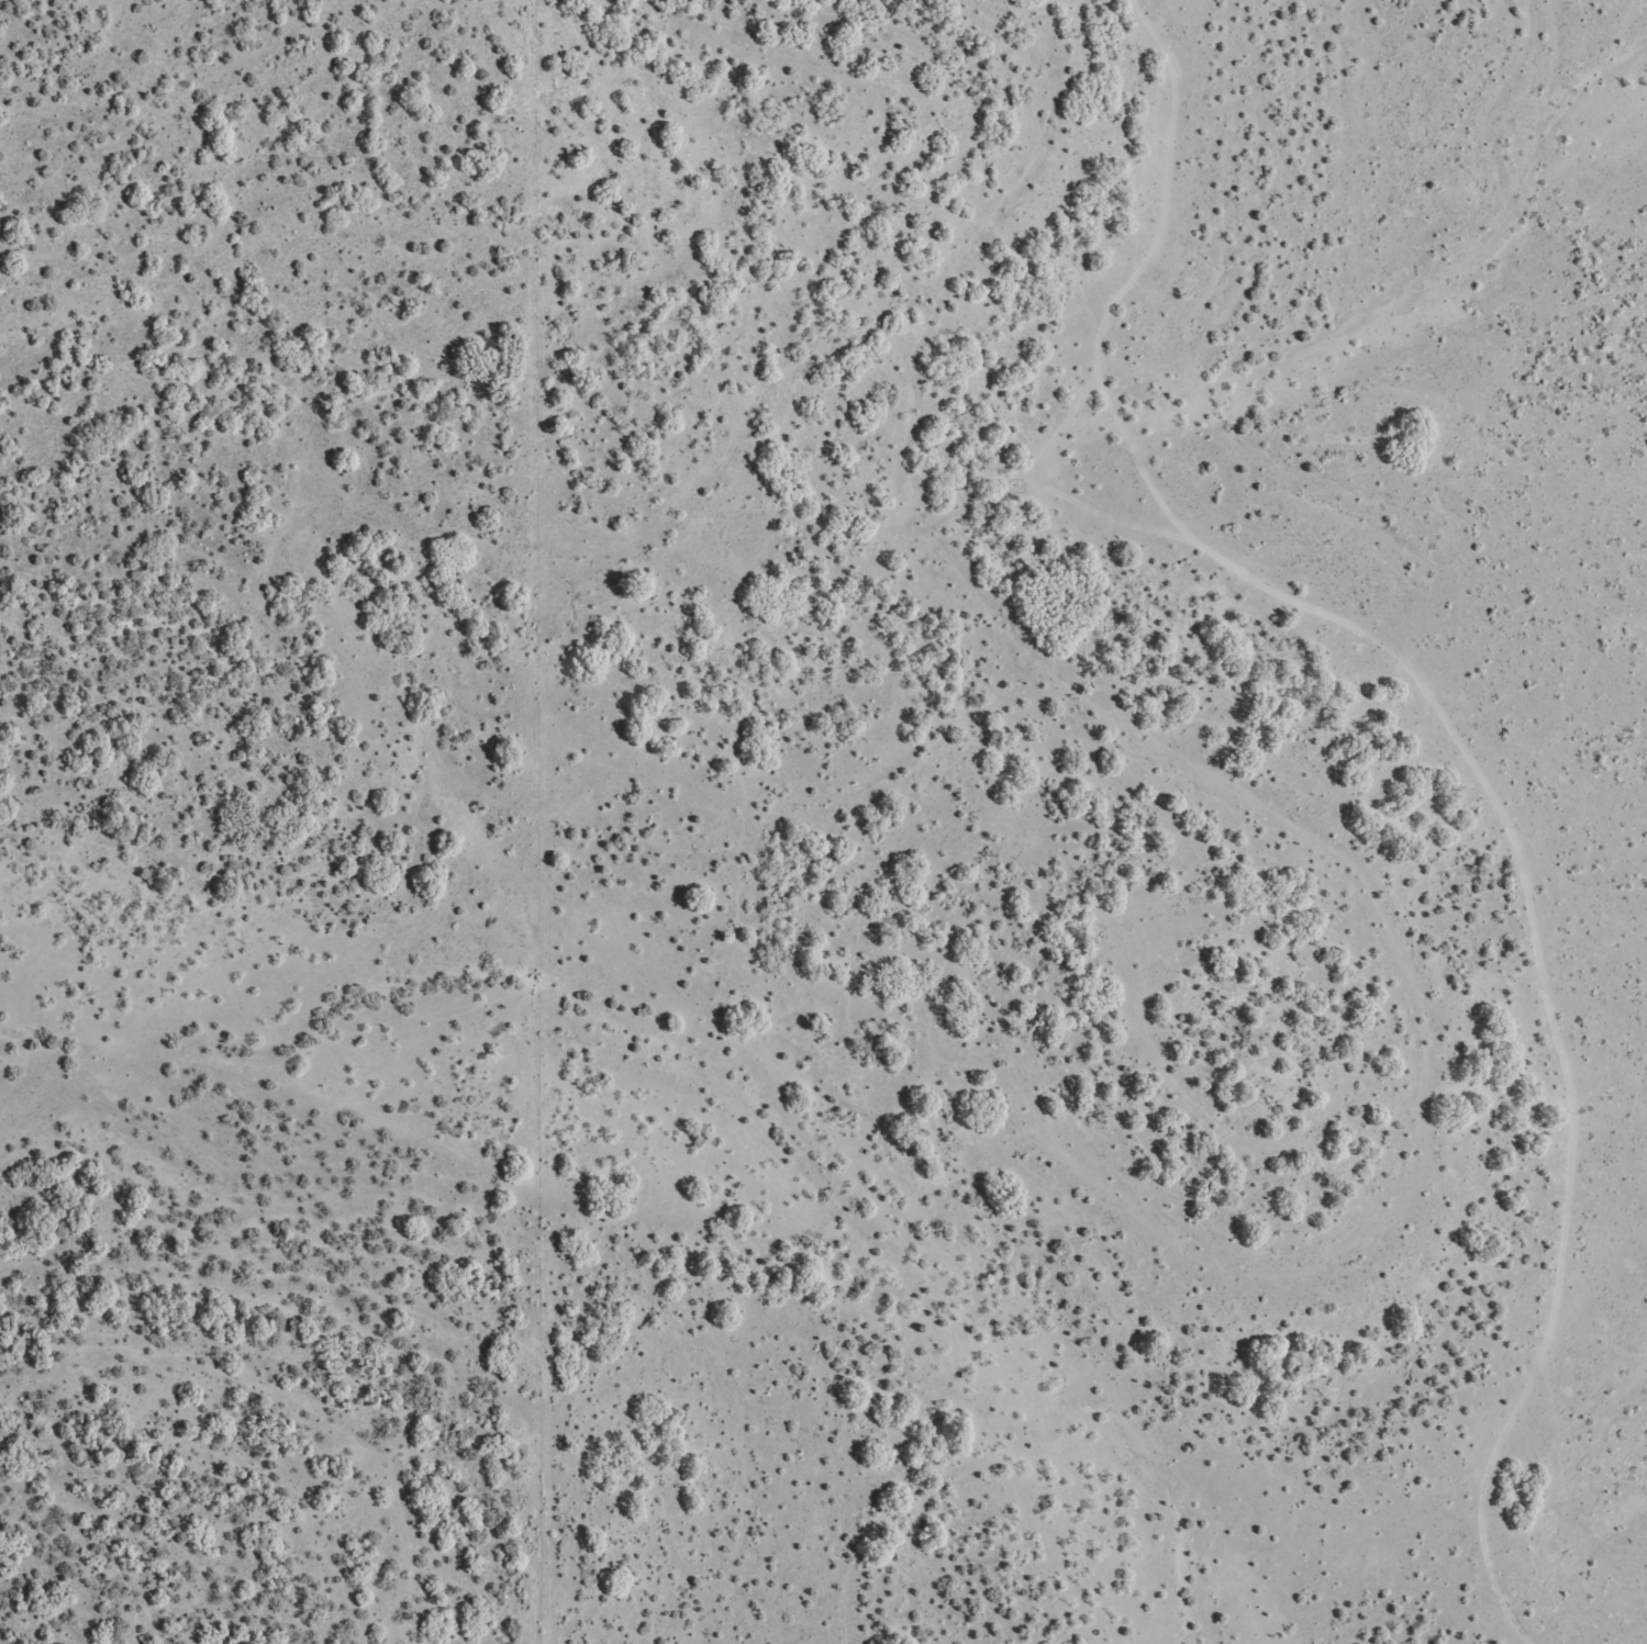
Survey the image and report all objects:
road: (1453, 742)

